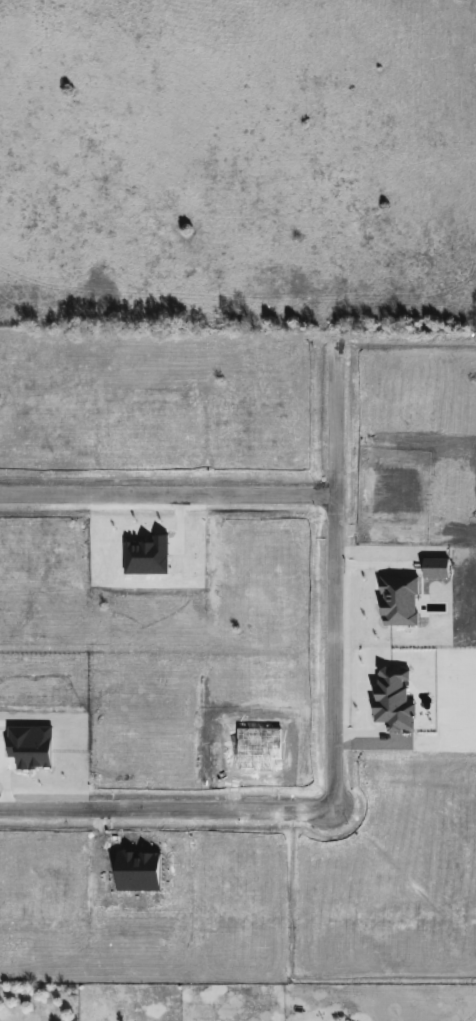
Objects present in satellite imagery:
road: (159, 502)
road: (334, 650)
road: (169, 818)

